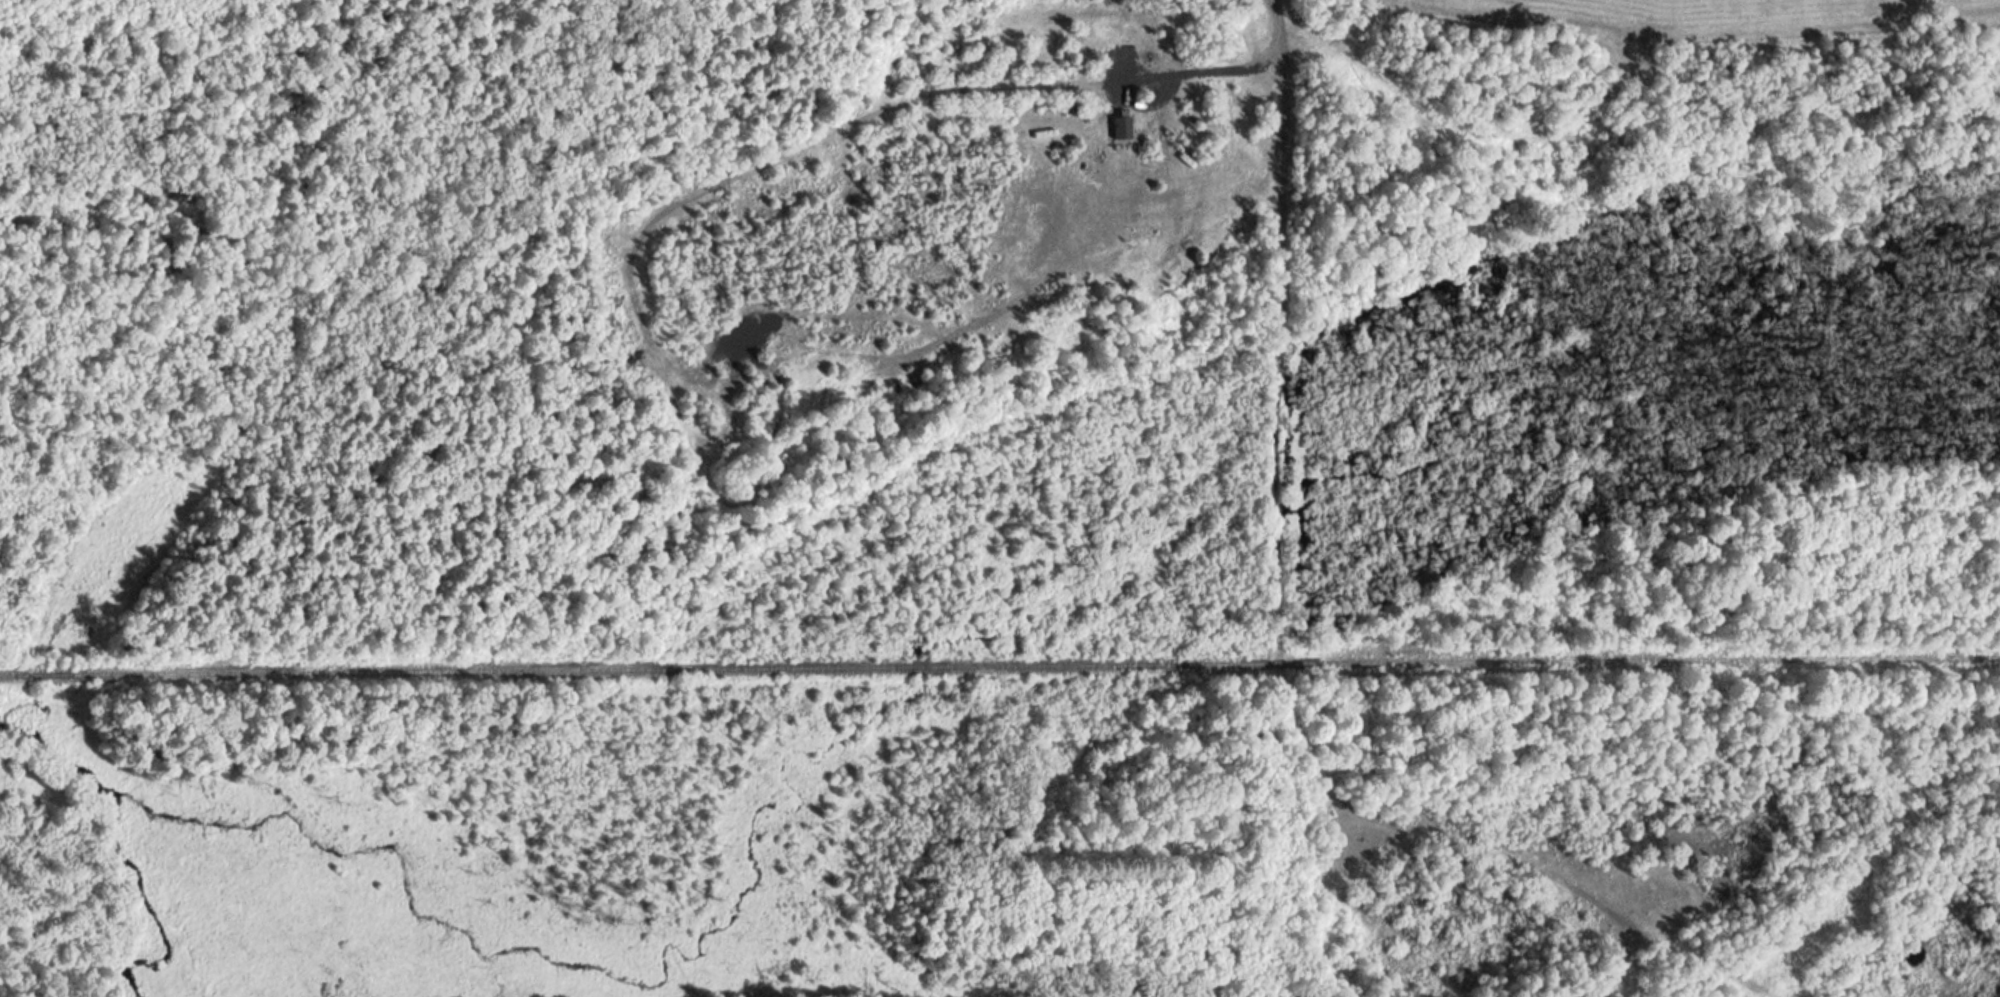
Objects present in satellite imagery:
road: (1296, 359)
railway: (1000, 692)
road: (1492, 898)

